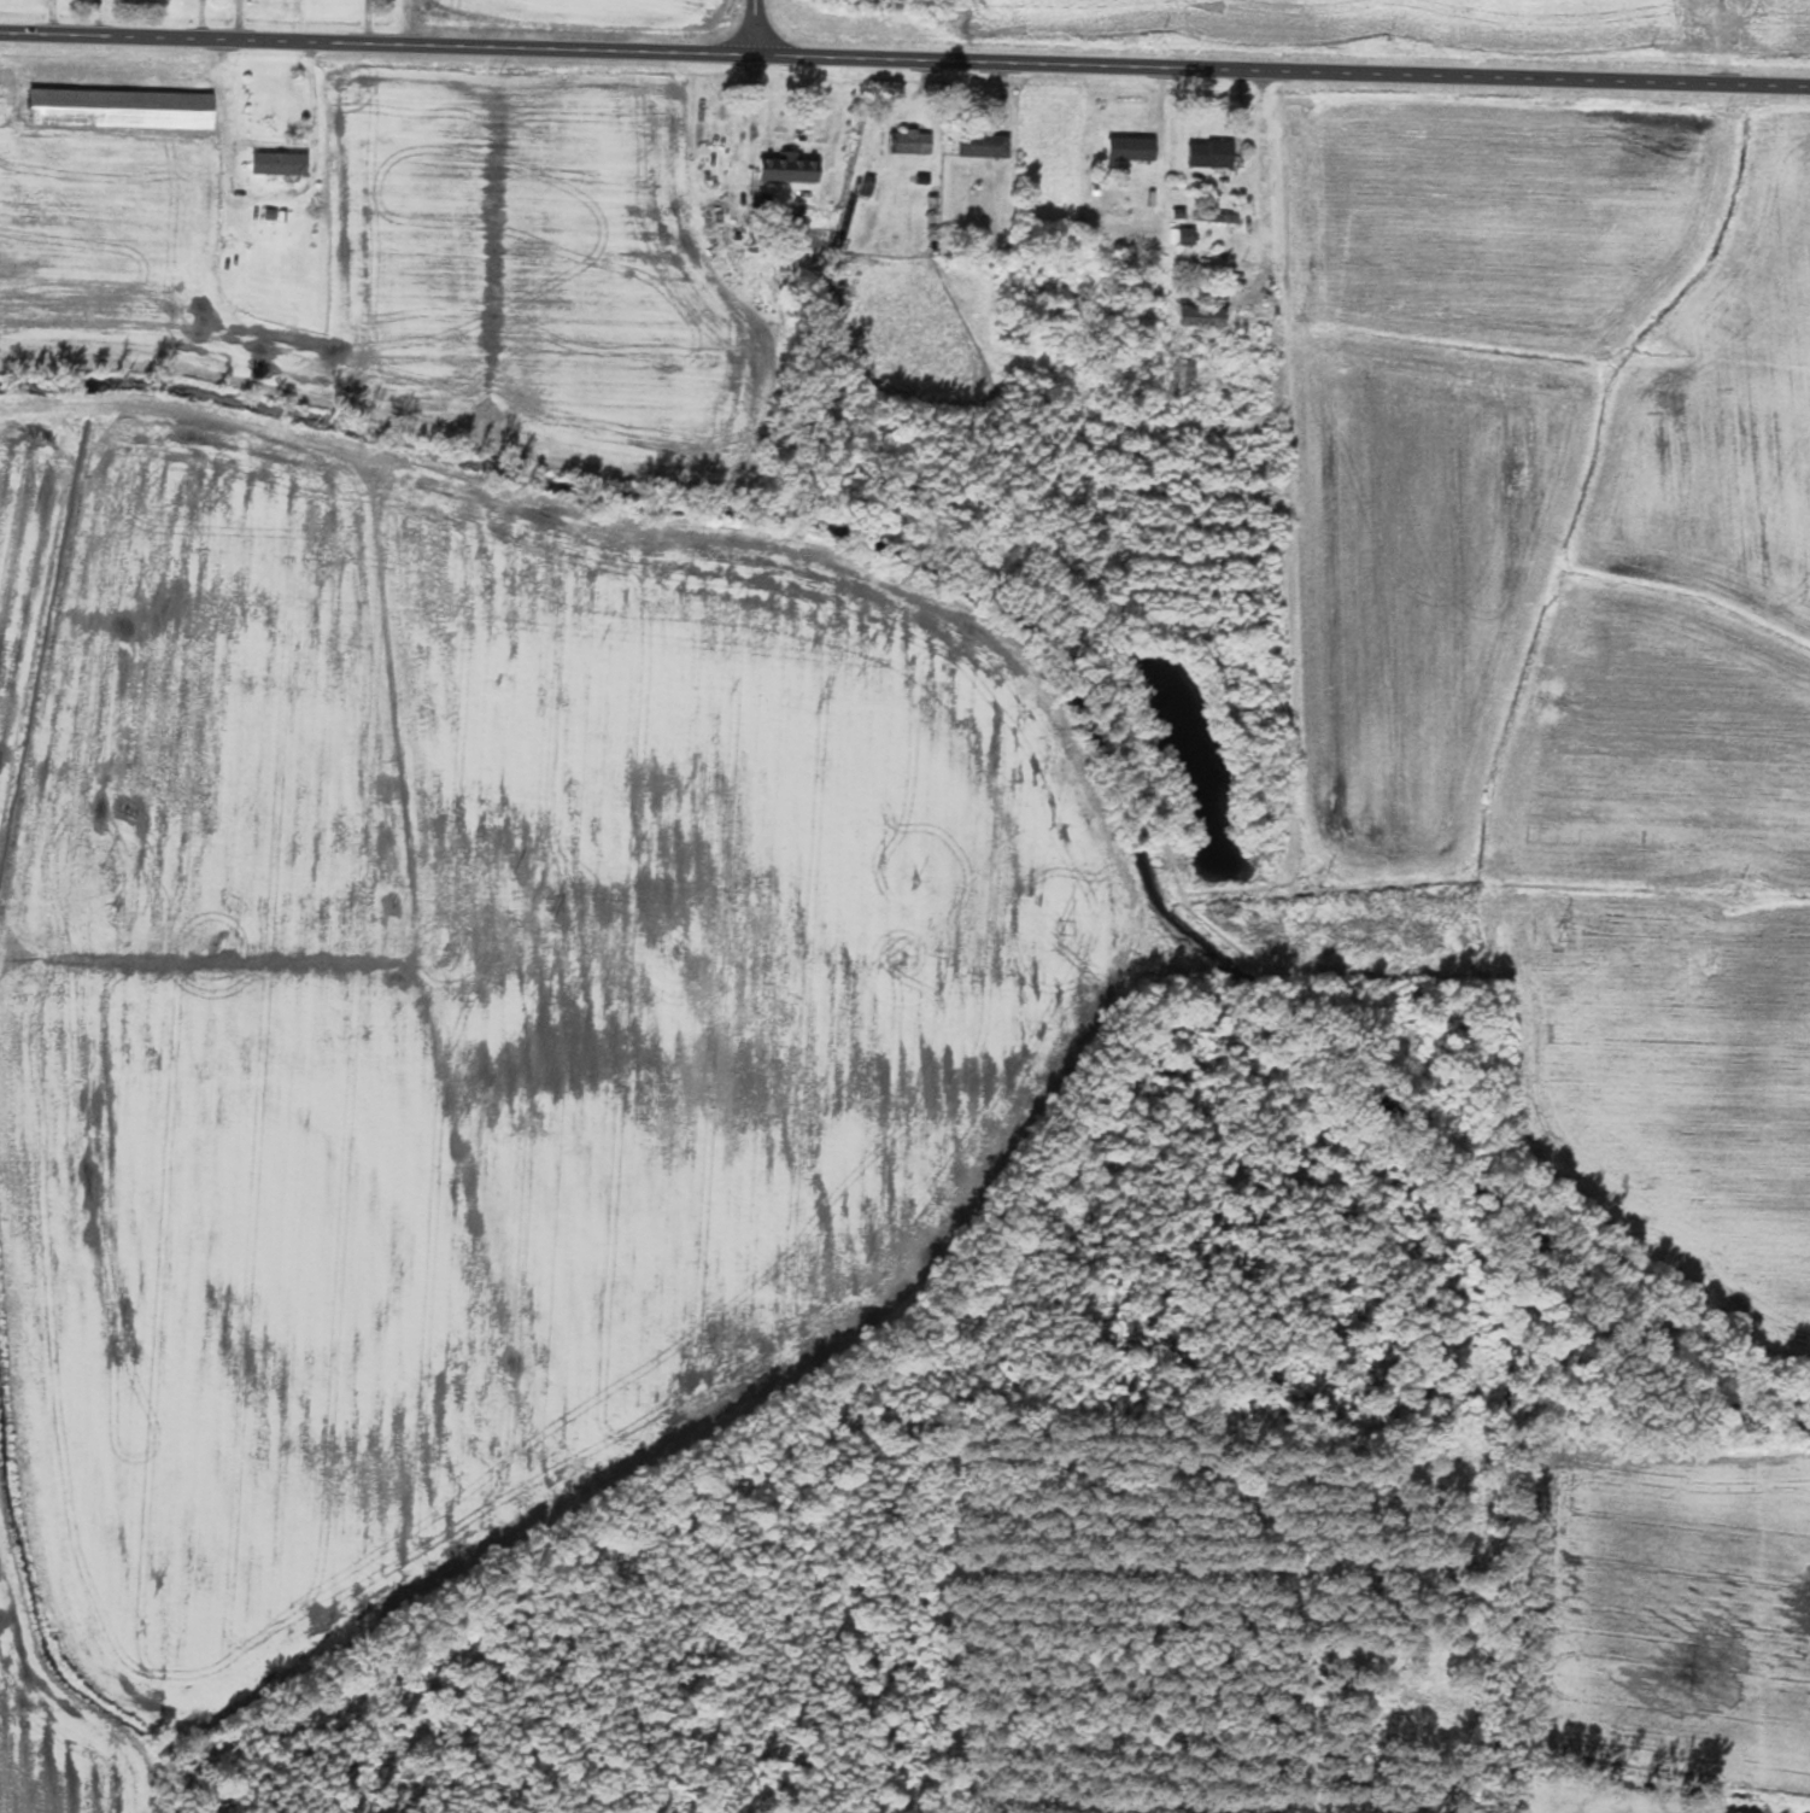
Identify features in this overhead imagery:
road: (752, 23)
road: (904, 53)
building: (119, 109)
building: (909, 142)
building: (983, 145)
building: (1126, 148)
building: (1209, 154)
building: (277, 163)
building: (787, 169)
road: (1264, 176)
building: (1047, 311)
building: (1202, 316)
building: (1182, 375)
power tower: (110, 912)
power tower: (547, 918)
power tower: (1058, 926)
power tower: (1556, 934)

